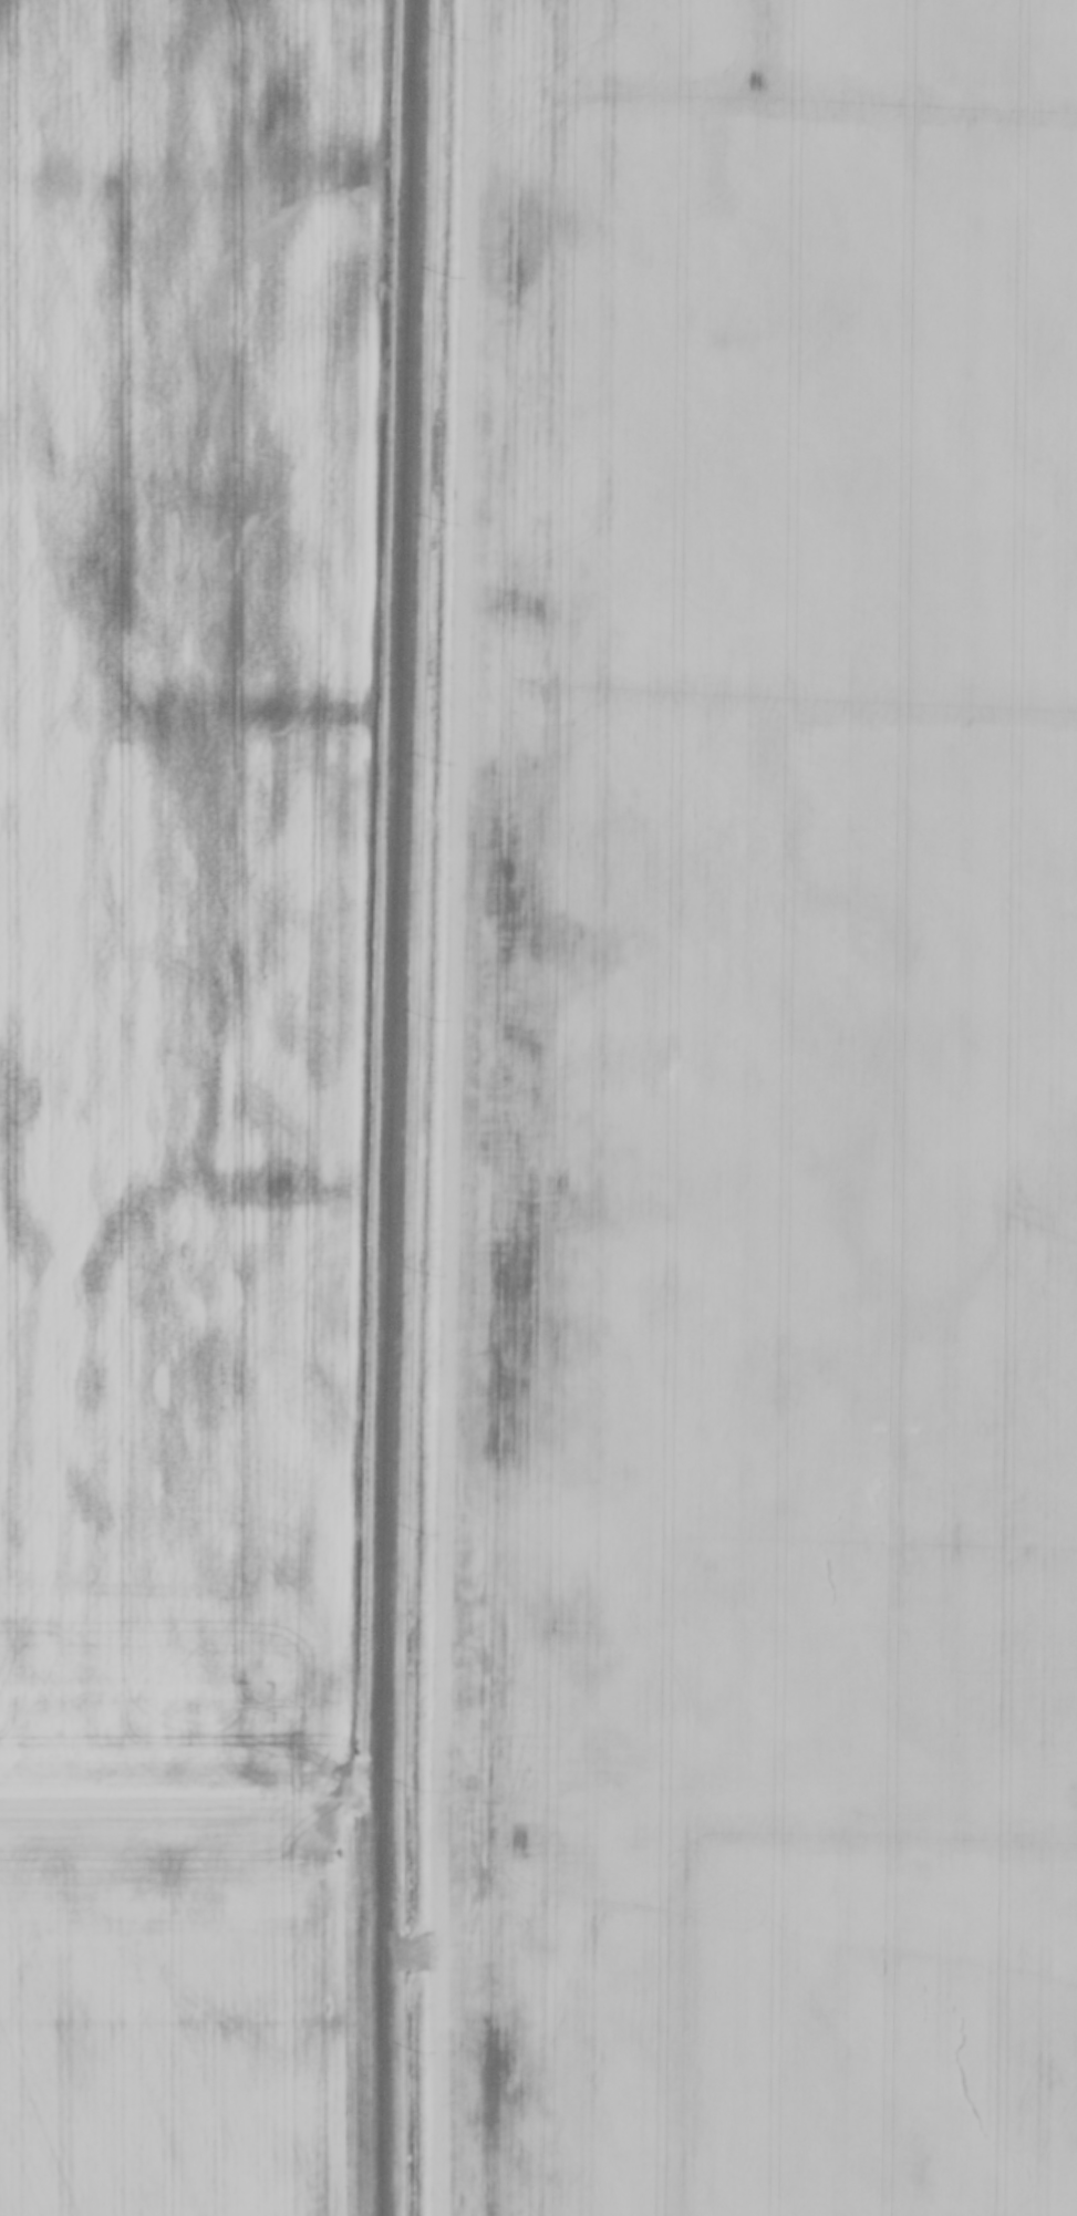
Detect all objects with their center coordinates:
road: (395, 1107)

